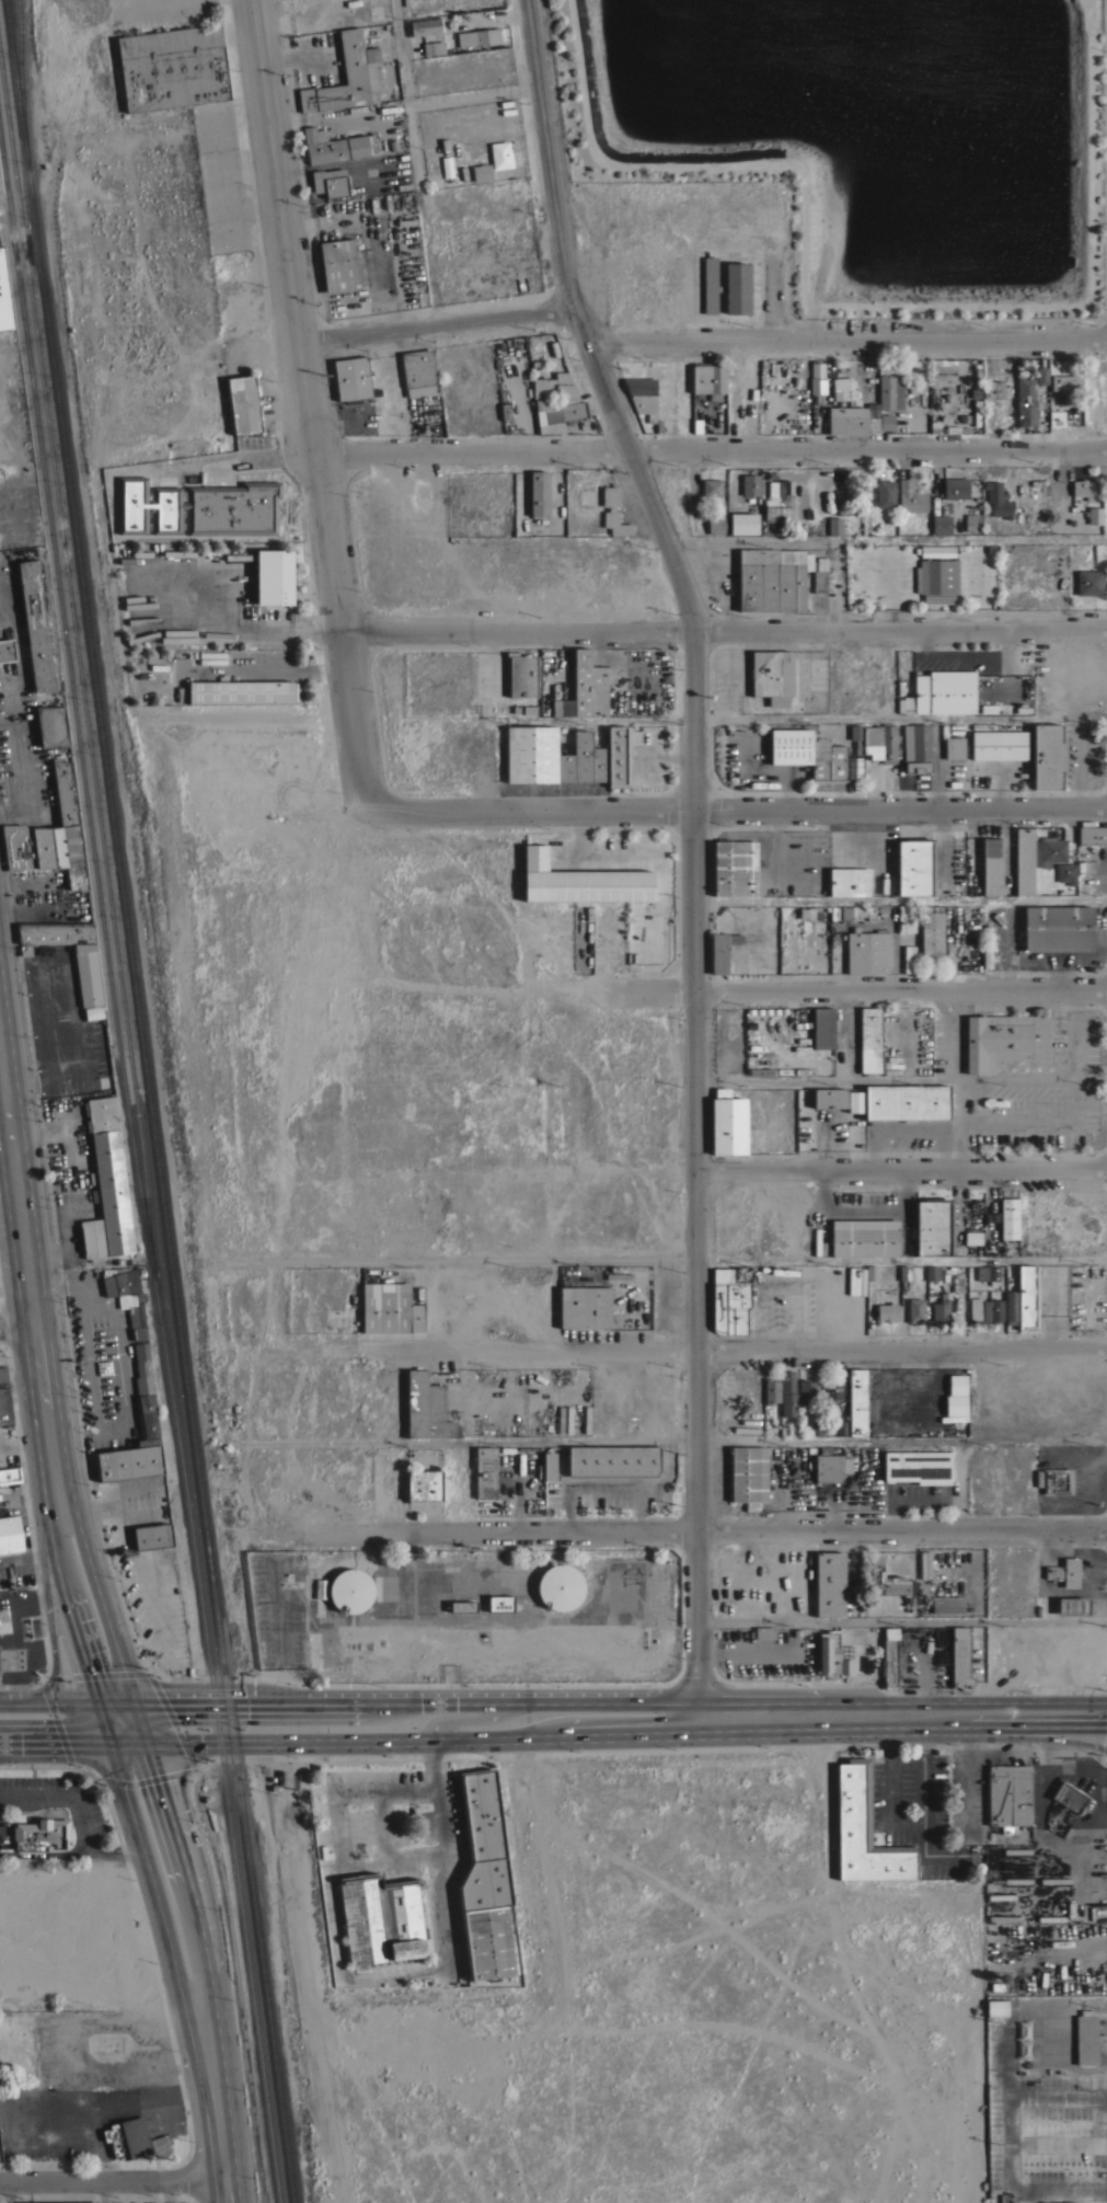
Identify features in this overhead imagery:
building: (425, 26)
building: (478, 36)
building: (434, 47)
building: (173, 67)
building: (348, 77)
railway: (20, 84)
road: (406, 91)
road: (474, 93)
building: (334, 146)
building: (500, 154)
building: (447, 165)
building: (482, 172)
railway: (1, 181)
building: (330, 182)
building: (338, 265)
building: (710, 285)
building: (737, 287)
building: (4, 297)
road: (430, 323)
road: (845, 339)
building: (533, 354)
building: (418, 372)
building: (1041, 375)
building: (351, 377)
building: (1065, 381)
building: (817, 382)
building: (556, 386)
building: (711, 386)
building: (1025, 388)
building: (994, 389)
building: (844, 390)
building: (889, 392)
building: (642, 393)
building: (244, 404)
road: (308, 405)
building: (560, 409)
building: (976, 411)
building: (1026, 415)
building: (1056, 417)
building: (853, 418)
building: (886, 422)
building: (946, 427)
road: (712, 449)
road: (256, 459)
building: (1, 472)
building: (750, 484)
building: (712, 486)
building: (955, 487)
building: (1083, 487)
building: (539, 493)
building: (885, 493)
building: (610, 495)
building: (911, 497)
building: (998, 500)
building: (779, 501)
building: (844, 504)
building: (196, 505)
building: (1094, 515)
building: (971, 521)
building: (615, 523)
building: (739, 523)
building: (716, 524)
building: (941, 524)
building: (835, 526)
road: (885, 539)
building: (819, 574)
building: (274, 576)
building: (937, 576)
building: (799, 577)
building: (765, 578)
building: (1089, 582)
building: (35, 626)
road: (724, 630)
building: (7, 649)
road: (267, 669)
railway: (78, 670)
building: (522, 675)
building: (771, 675)
building: (242, 691)
building: (944, 691)
building: (563, 707)
railway: (73, 708)
road: (746, 714)
building: (51, 725)
building: (984, 725)
building: (856, 737)
building: (868, 741)
building: (885, 743)
building: (789, 745)
building: (953, 745)
building: (999, 745)
building: (916, 747)
building: (531, 754)
building: (583, 755)
building: (619, 756)
building: (1048, 756)
building: (819, 758)
building: (837, 762)
building: (599, 764)
building: (565, 767)
building: (853, 767)
road: (740, 807)
building: (1092, 835)
building: (50, 836)
road: (693, 842)
building: (1051, 850)
building: (1024, 860)
building: (914, 865)
building: (992, 865)
building: (735, 868)
building: (1065, 873)
building: (580, 881)
building: (849, 881)
road: (900, 897)
building: (839, 911)
building: (860, 911)
building: (806, 913)
building: (906, 918)
building: (1058, 928)
building: (932, 931)
building: (56, 932)
building: (987, 945)
building: (45, 950)
building: (720, 950)
building: (866, 951)
building: (909, 959)
building: (88, 974)
road: (453, 983)
road: (846, 989)
building: (752, 1010)
building: (770, 1010)
building: (93, 1012)
building: (822, 1028)
road: (1073, 1032)
building: (869, 1039)
building: (1004, 1040)
building: (760, 1070)
road: (885, 1078)
building: (1060, 1097)
building: (838, 1099)
railway: (149, 1101)
railway: (150, 1101)
railway: (161, 1101)
building: (906, 1101)
building: (728, 1123)
road: (902, 1167)
road: (545, 1170)
building: (106, 1183)
building: (1008, 1217)
building: (935, 1227)
building: (864, 1237)
building: (970, 1237)
road: (657, 1258)
road: (28, 1271)
building: (870, 1272)
building: (904, 1272)
building: (929, 1272)
building: (935, 1272)
building: (984, 1274)
building: (125, 1292)
building: (1027, 1296)
building: (729, 1301)
building: (584, 1306)
building: (1011, 1306)
building: (941, 1307)
building: (390, 1308)
building: (915, 1308)
building: (984, 1310)
building: (887, 1311)
road: (18, 1327)
building: (139, 1332)
road: (756, 1349)
building: (141, 1357)
building: (770, 1391)
building: (805, 1391)
building: (831, 1391)
building: (145, 1393)
building: (787, 1393)
building: (856, 1401)
building: (426, 1407)
building: (815, 1427)
building: (841, 1427)
building: (148, 1428)
road: (24, 1438)
road: (680, 1442)
building: (810, 1457)
building: (614, 1460)
building: (129, 1462)
building: (549, 1465)
building: (918, 1466)
building: (828, 1467)
building: (540, 1470)
building: (485, 1471)
road: (665, 1473)
building: (10, 1475)
building: (748, 1475)
building: (1057, 1480)
building: (424, 1487)
road: (607, 1488)
road: (92, 1505)
road: (677, 1533)
building: (10, 1534)
building: (152, 1536)
building: (923, 1563)
building: (1064, 1572)
building: (886, 1580)
building: (830, 1583)
building: (558, 1585)
building: (320, 1587)
building: (350, 1591)
road: (99, 1599)
road: (65, 1603)
building: (944, 1603)
building: (500, 1604)
building: (1073, 1605)
road: (47, 1606)
building: (462, 1606)
building: (4, 1620)
road: (902, 1620)
building: (27, 1627)
building: (764, 1632)
building: (823, 1653)
building: (960, 1656)
building: (838, 1657)
building: (890, 1663)
traffic signals: (87, 1672)
road: (149, 1674)
road: (64, 1699)
road: (114, 1699)
road: (415, 1699)
road: (16, 1700)
traffic signals: (165, 1700)
road: (468, 1718)
road: (102, 1720)
road: (138, 1721)
road: (901, 1721)
railway: (217, 1739)
road: (424, 1741)
road: (54, 1742)
traffic signals: (58, 1742)
road: (126, 1742)
traffic signals: (157, 1781)
building: (1008, 1795)
building: (1069, 1797)
building: (482, 1813)
road: (911, 1821)
building: (864, 1831)
building: (41, 1835)
road: (184, 1869)
building: (1020, 1871)
road: (147, 1872)
road: (140, 1913)
building: (486, 1917)
building: (381, 1918)
road: (361, 1978)
road: (233, 1984)
building: (996, 2007)
building: (1085, 2038)
road: (1059, 2088)
road: (212, 2099)
building: (128, 2137)
road: (1079, 2139)
road: (1013, 2150)
road: (111, 2179)
road: (104, 2191)
building: (61, 2202)
building: (1052, 2202)

